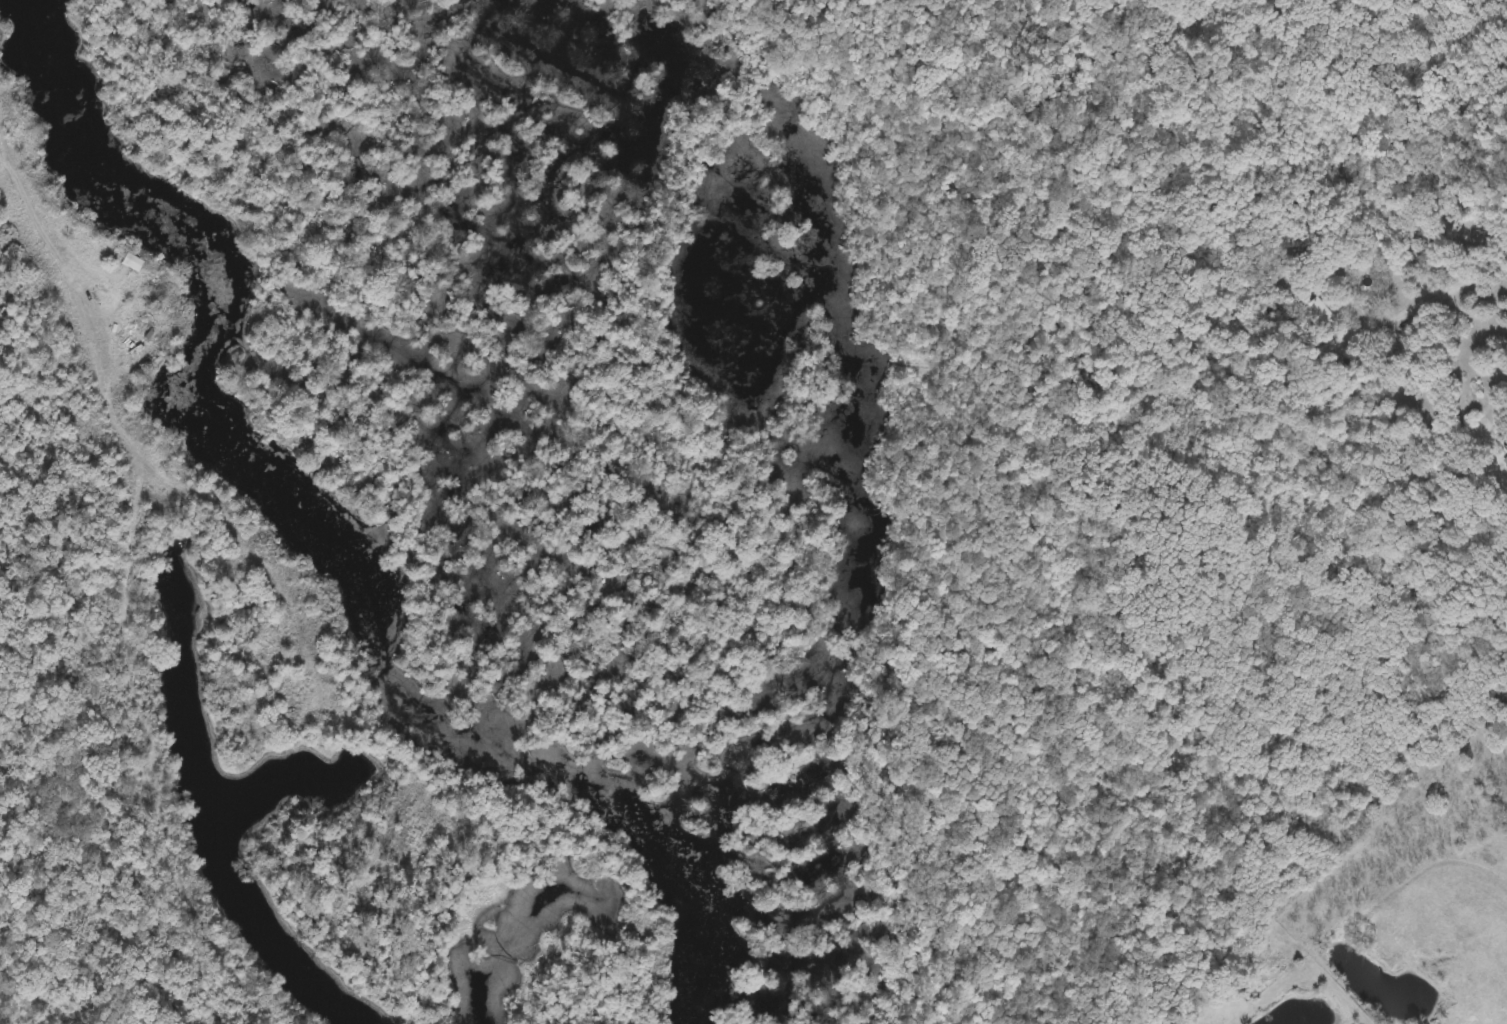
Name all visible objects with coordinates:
road: (8, 159)
building: (132, 260)
road: (1448, 289)
building: (1317, 310)
road: (74, 316)
building: (1506, 462)

